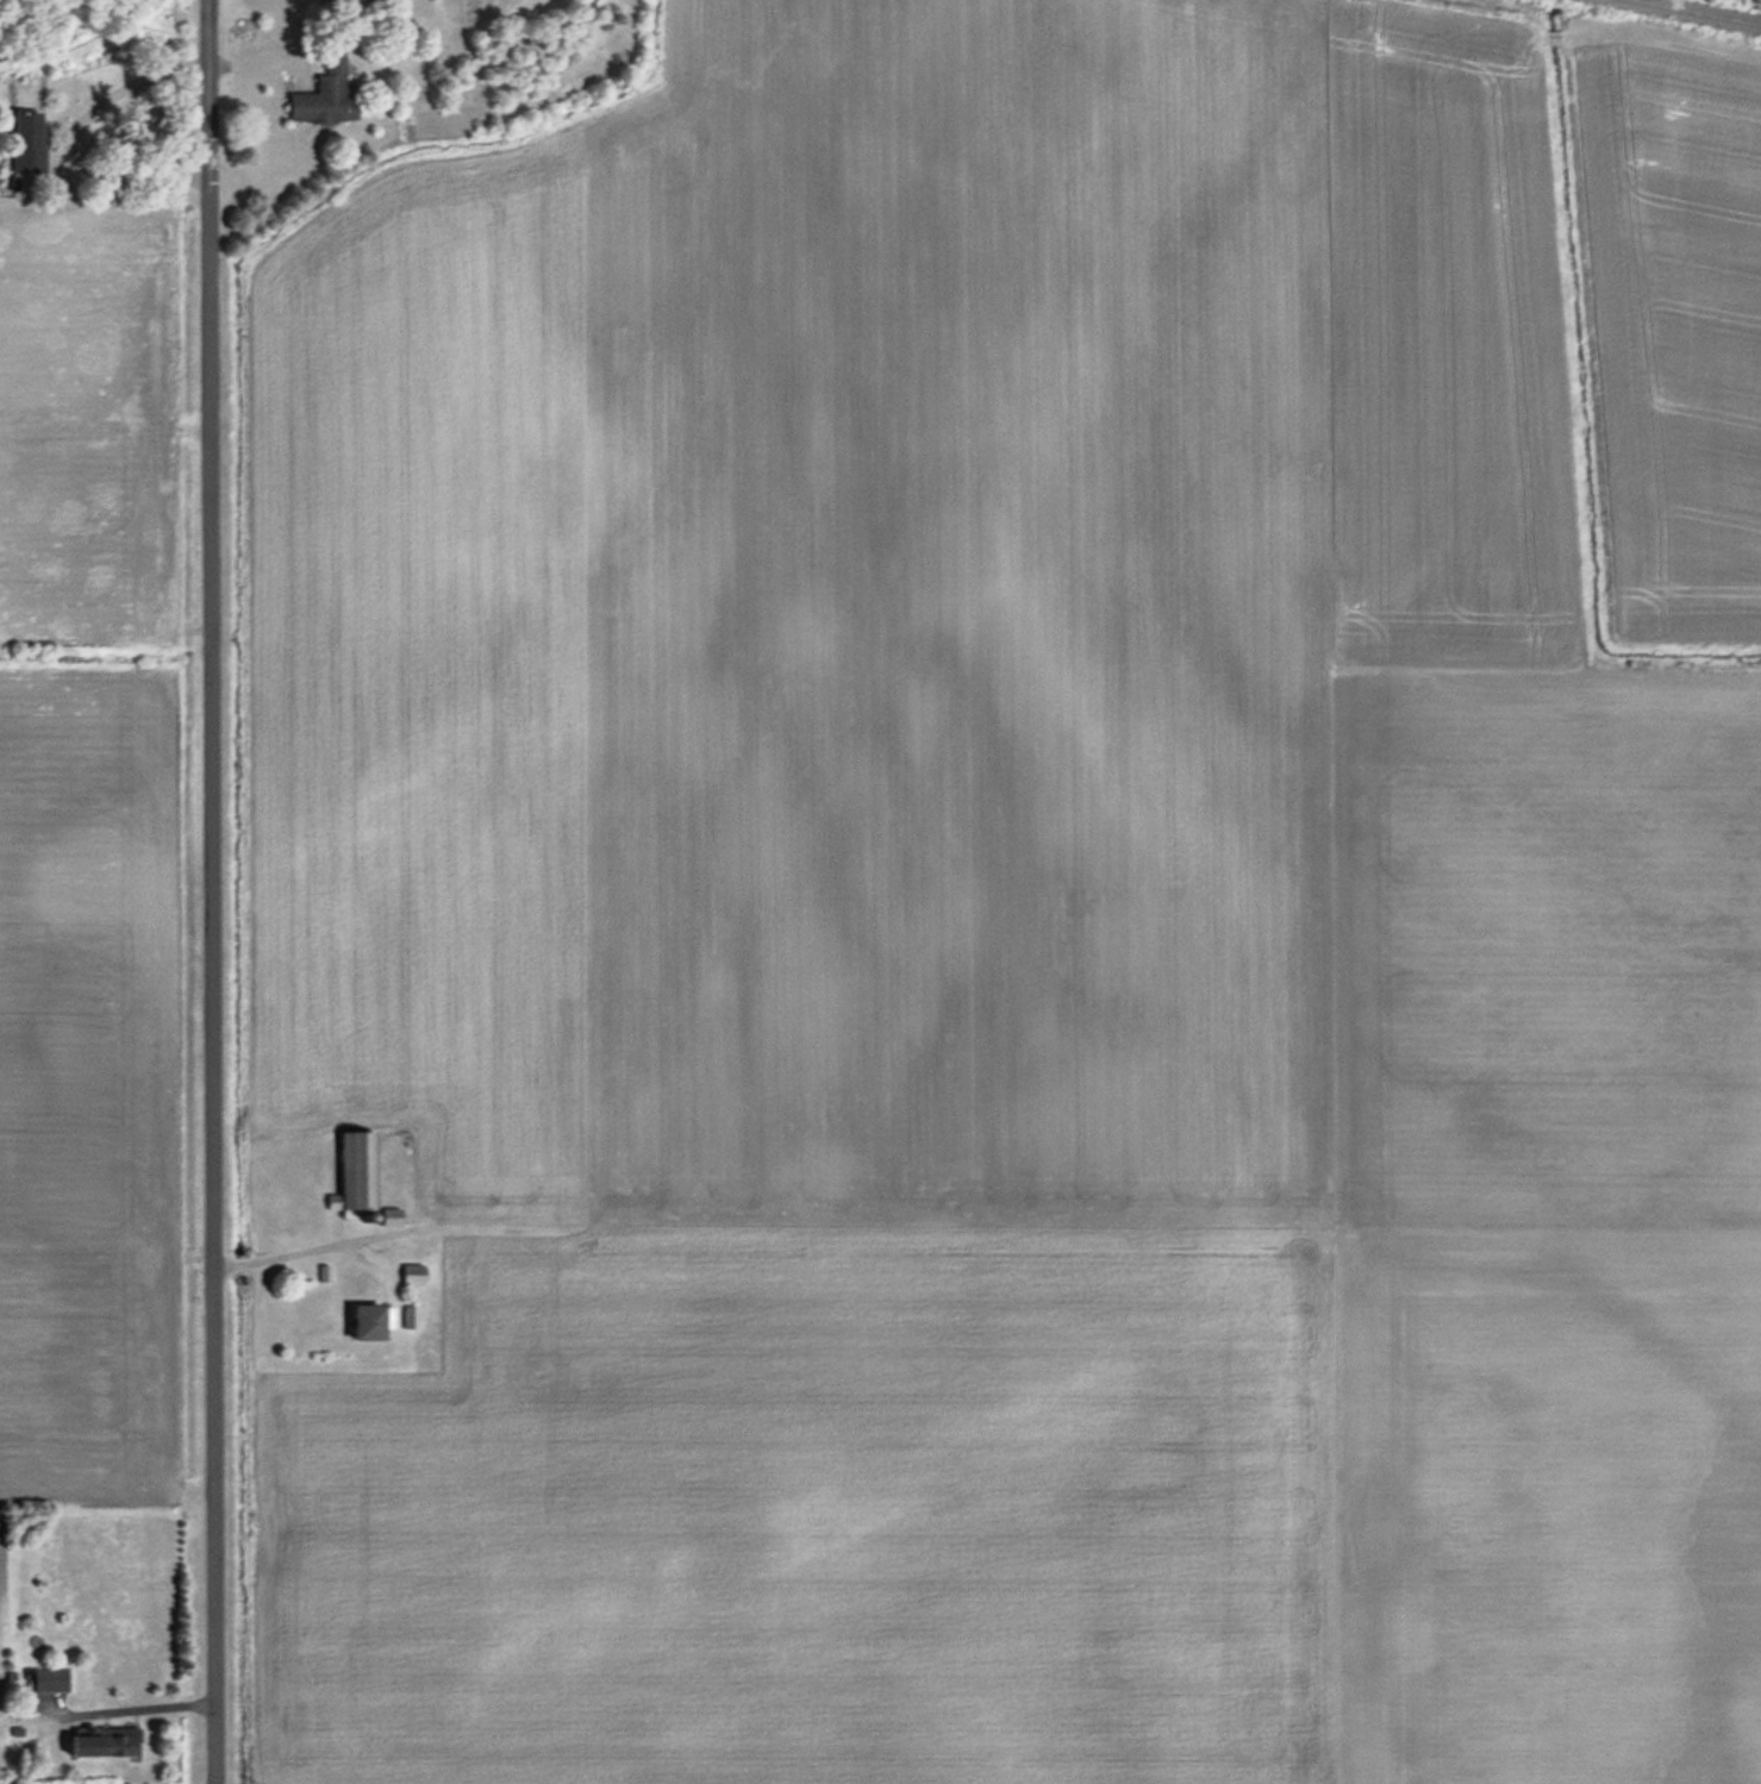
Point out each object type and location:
railway: (1699, 11)
building: (323, 96)
road: (73, 139)
building: (25, 143)
road: (208, 891)
building: (354, 1171)
building: (389, 1216)
building: (411, 1275)
building: (410, 1317)
building: (367, 1321)
building: (108, 1742)

